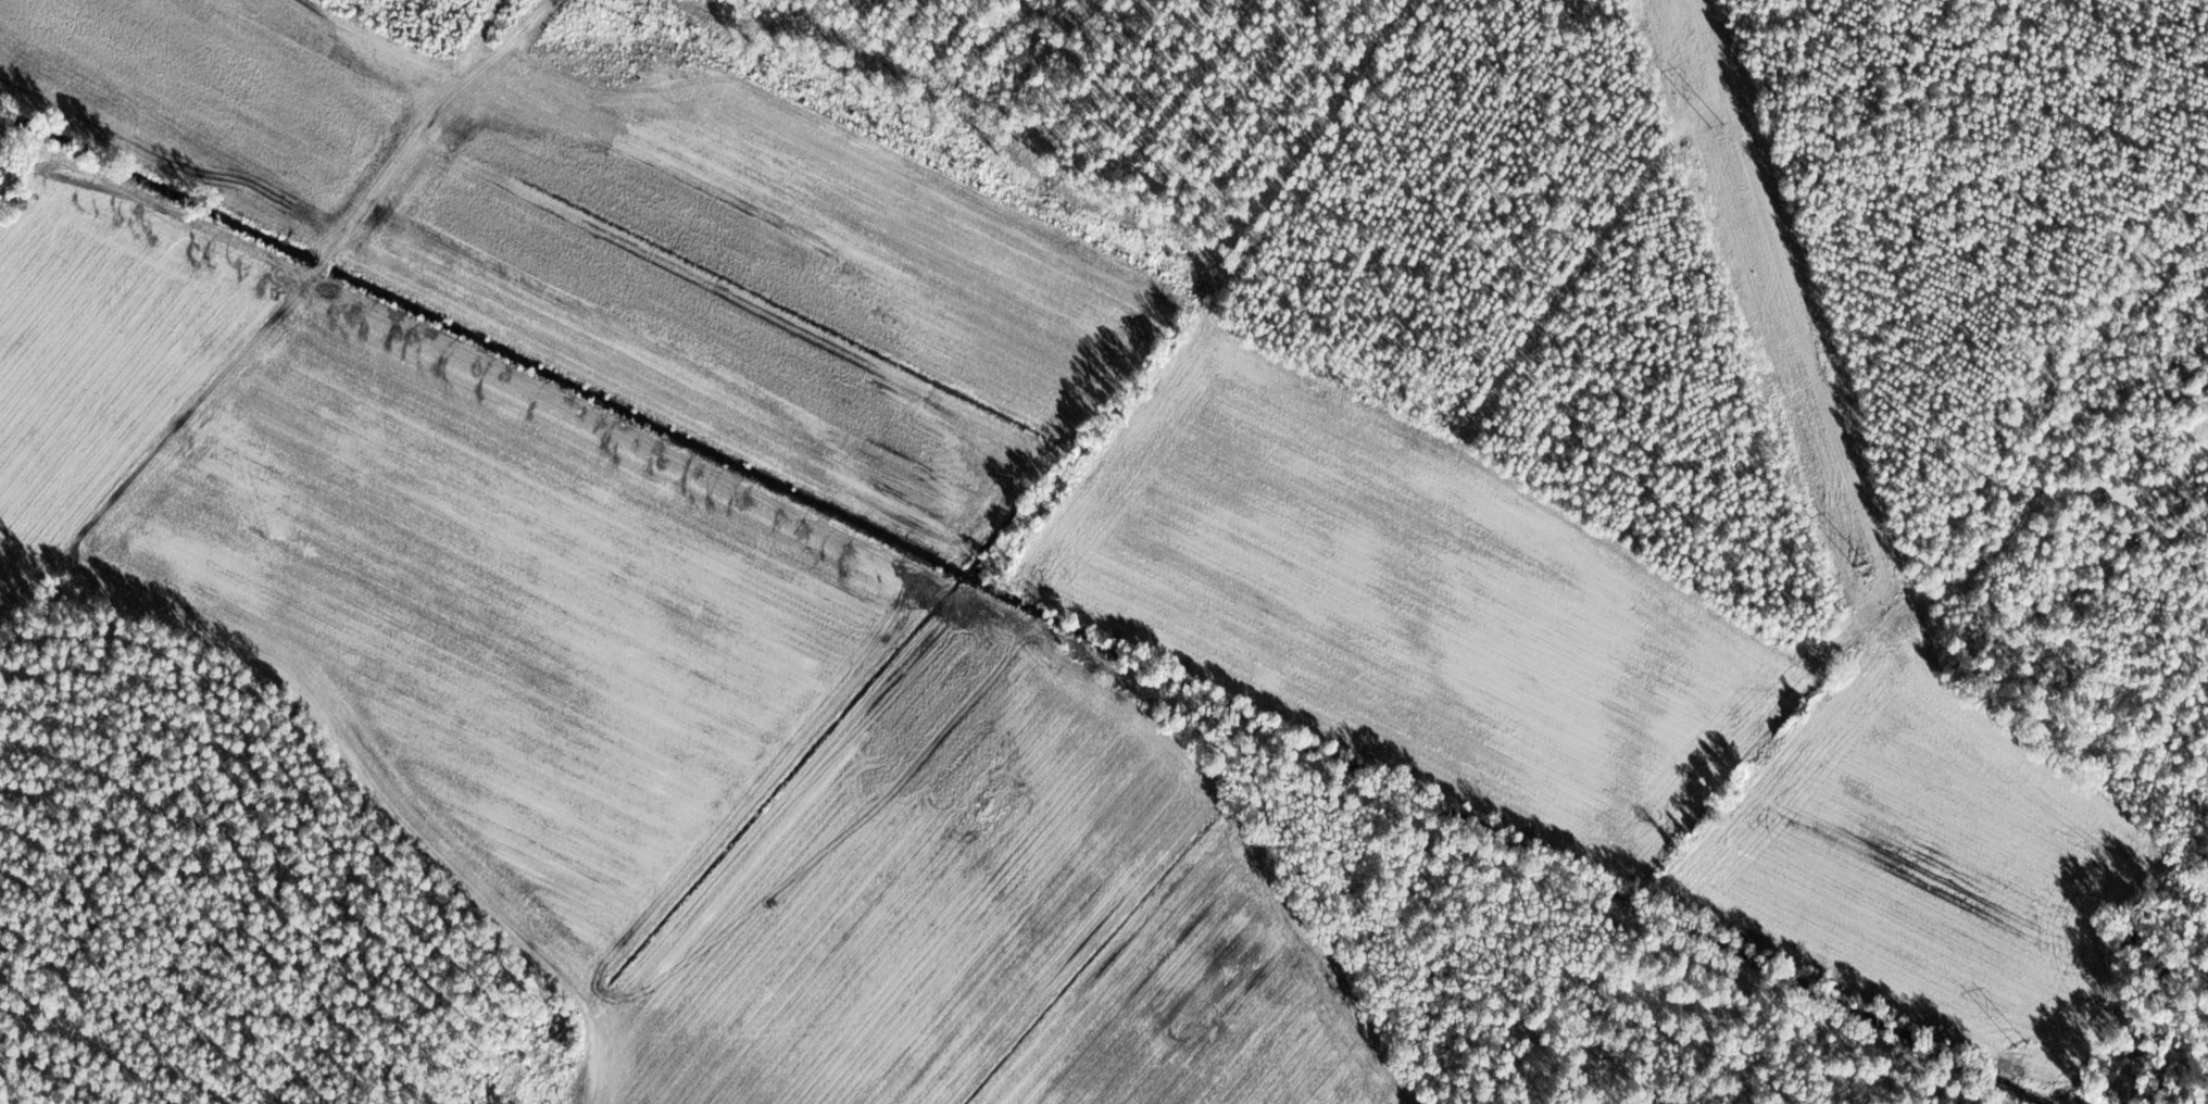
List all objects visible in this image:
power tower: (1716, 125)
power tower: (1861, 569)
power tower: (2020, 1045)

